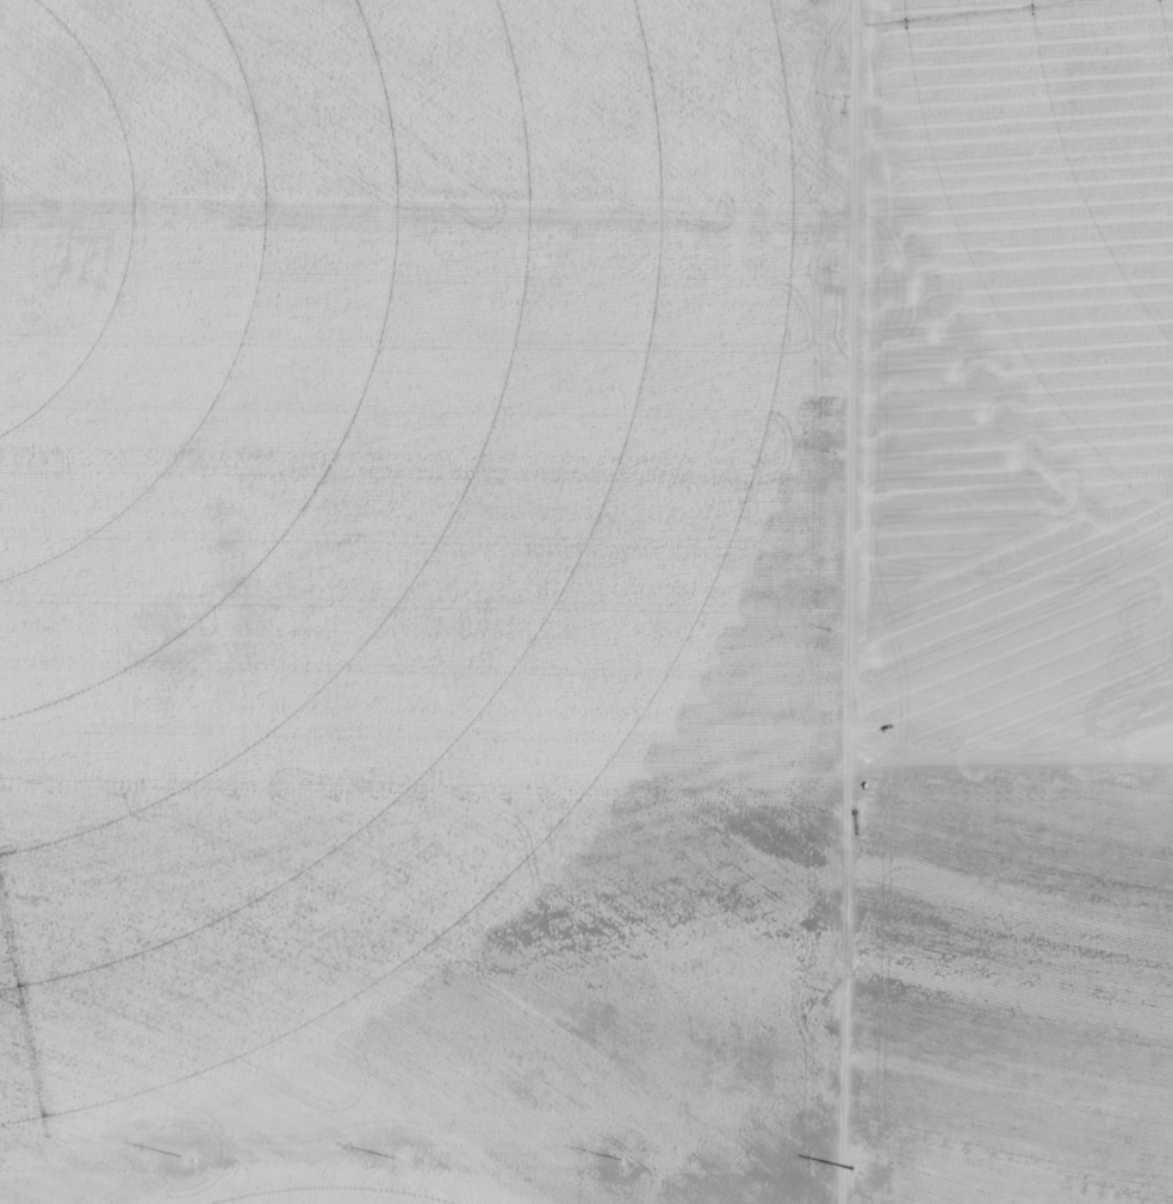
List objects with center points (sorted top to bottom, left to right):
road: (856, 602)

